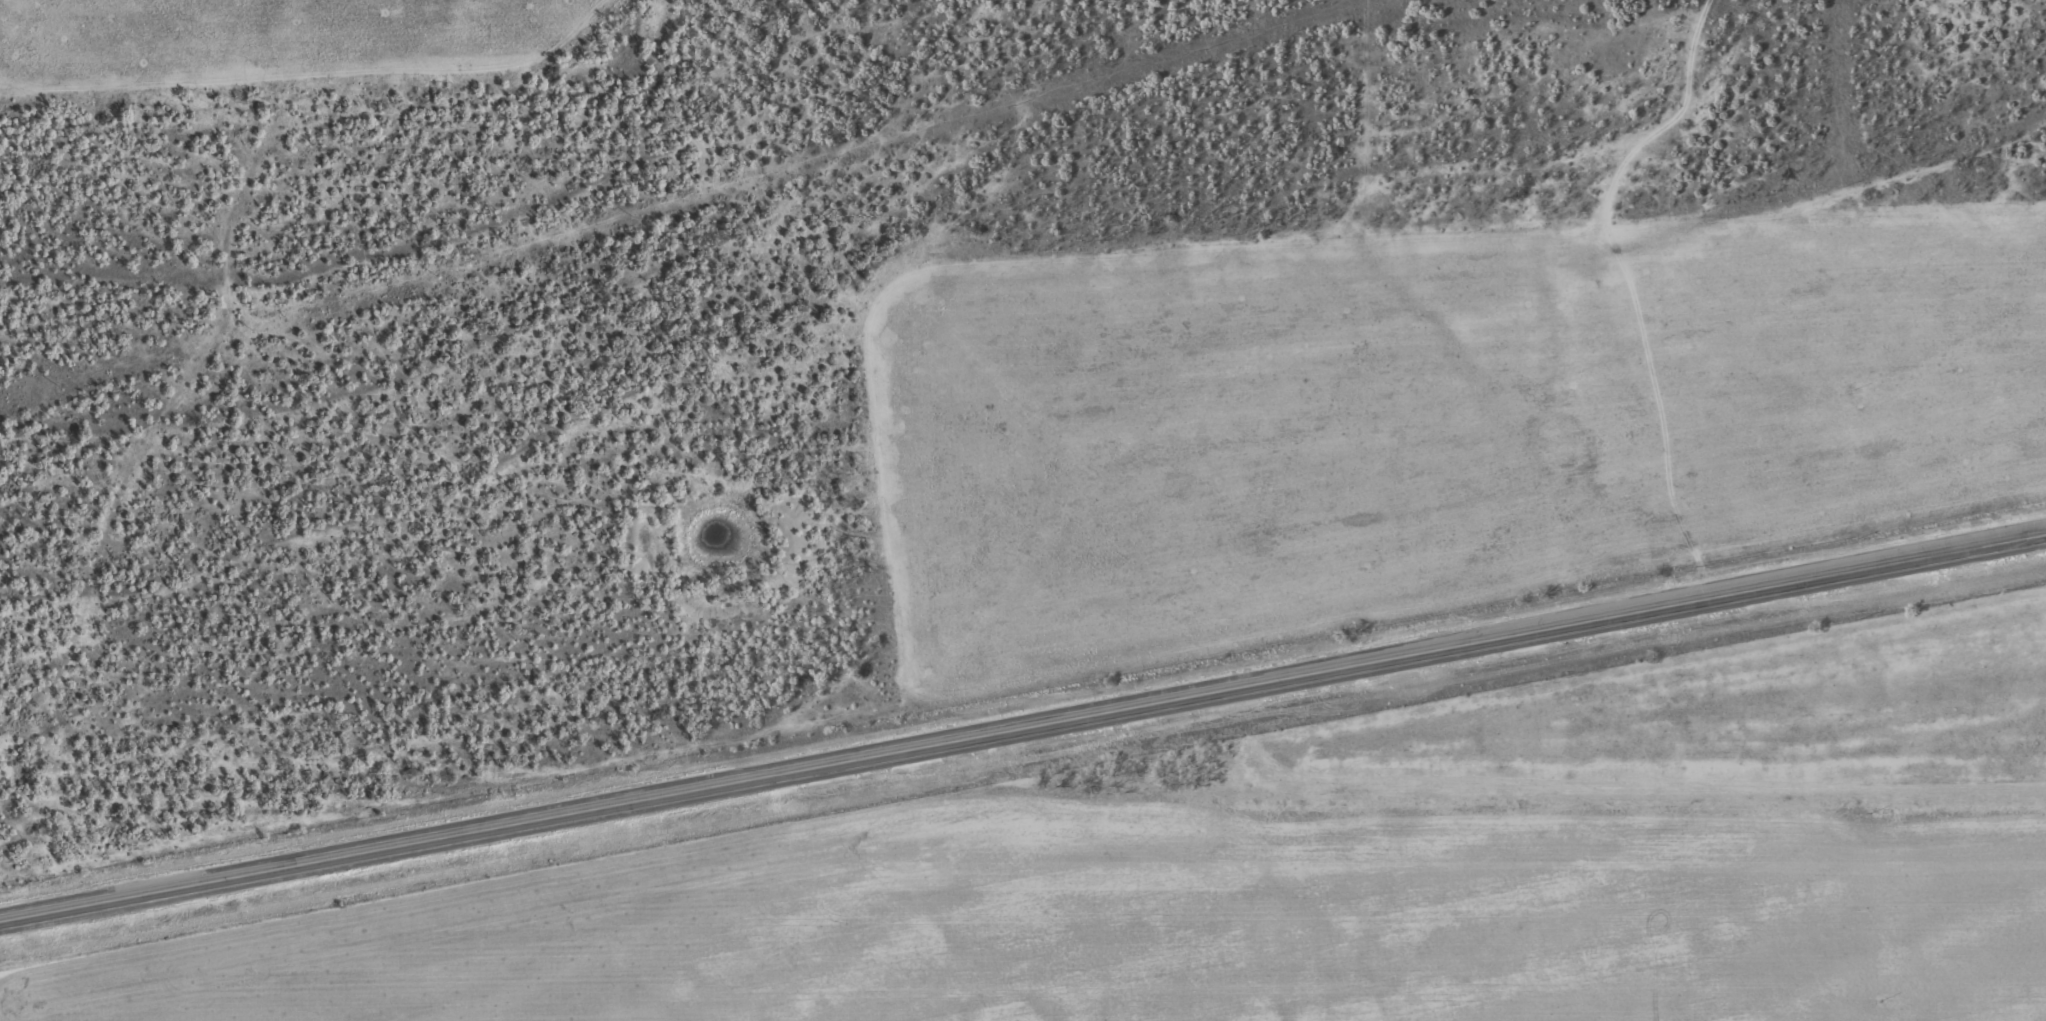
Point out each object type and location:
road: (1024, 731)

